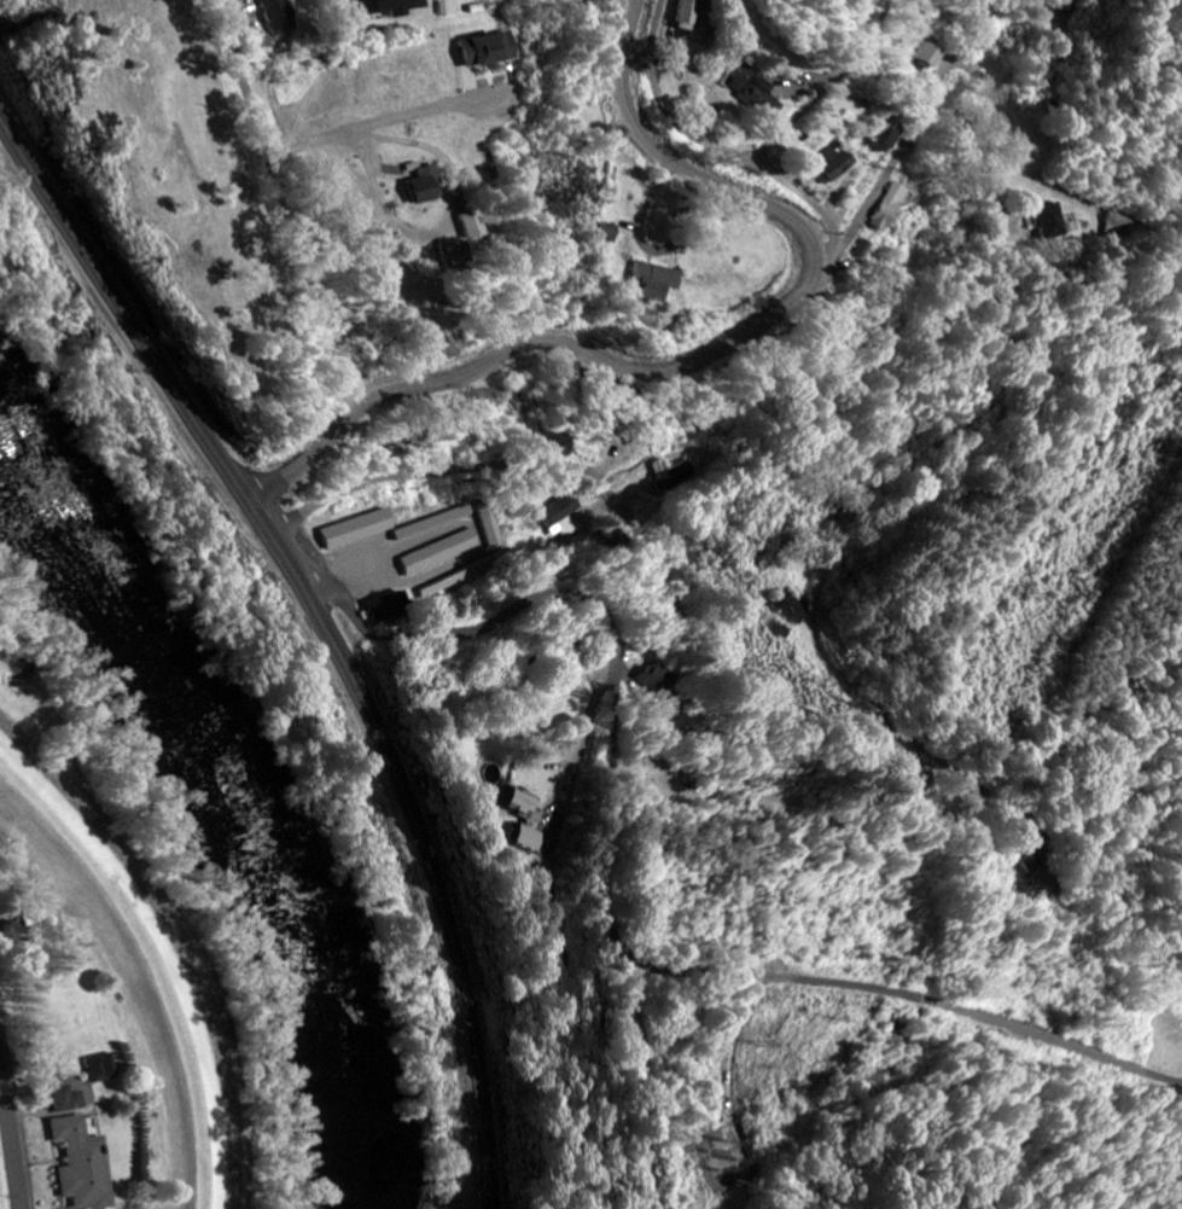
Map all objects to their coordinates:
road: (635, 5)
building: (391, 6)
building: (686, 14)
building: (280, 16)
building: (488, 50)
building: (926, 53)
building: (751, 89)
road: (654, 92)
road: (984, 132)
building: (878, 135)
building: (827, 163)
road: (884, 172)
road: (781, 180)
building: (423, 187)
building: (885, 205)
road: (291, 213)
building: (1046, 221)
building: (468, 226)
building: (606, 233)
building: (857, 249)
building: (452, 255)
building: (650, 281)
road: (755, 325)
building: (552, 444)
road: (296, 466)
road: (431, 473)
building: (676, 477)
building: (560, 517)
building: (430, 523)
building: (489, 525)
road: (278, 527)
building: (356, 529)
building: (439, 552)
building: (388, 606)
building: (792, 610)
road: (326, 632)
road: (365, 644)
building: (653, 680)
road: (768, 725)
building: (487, 774)
building: (918, 777)
building: (519, 806)
river: (250, 807)
road: (51, 819)
building: (525, 839)
building: (1035, 858)
road: (600, 885)
building: (103, 1068)
road: (659, 1086)
building: (69, 1099)
road: (12, 1138)
building: (83, 1163)

